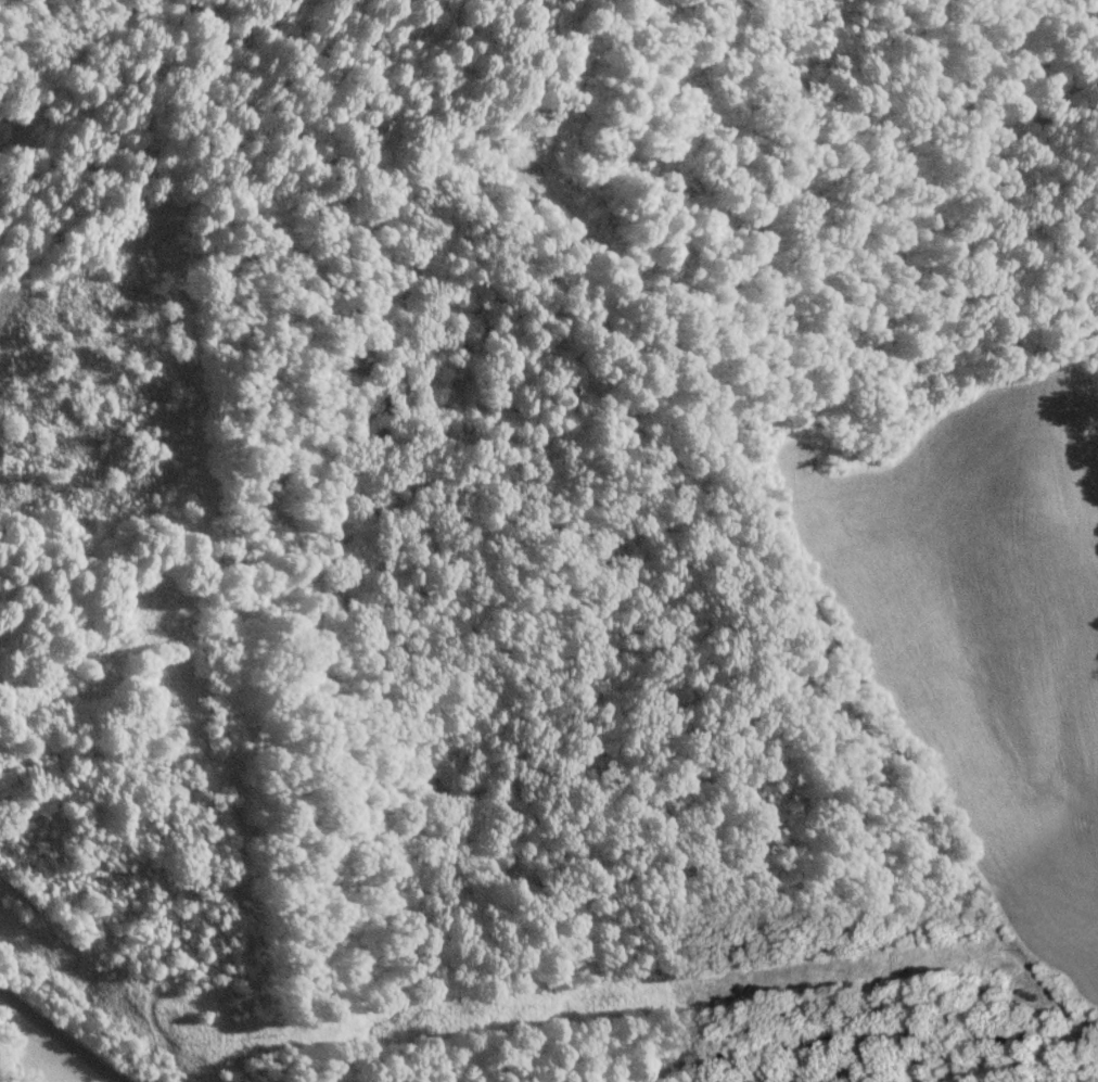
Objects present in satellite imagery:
road: (833, 1027)
road: (60, 1039)

